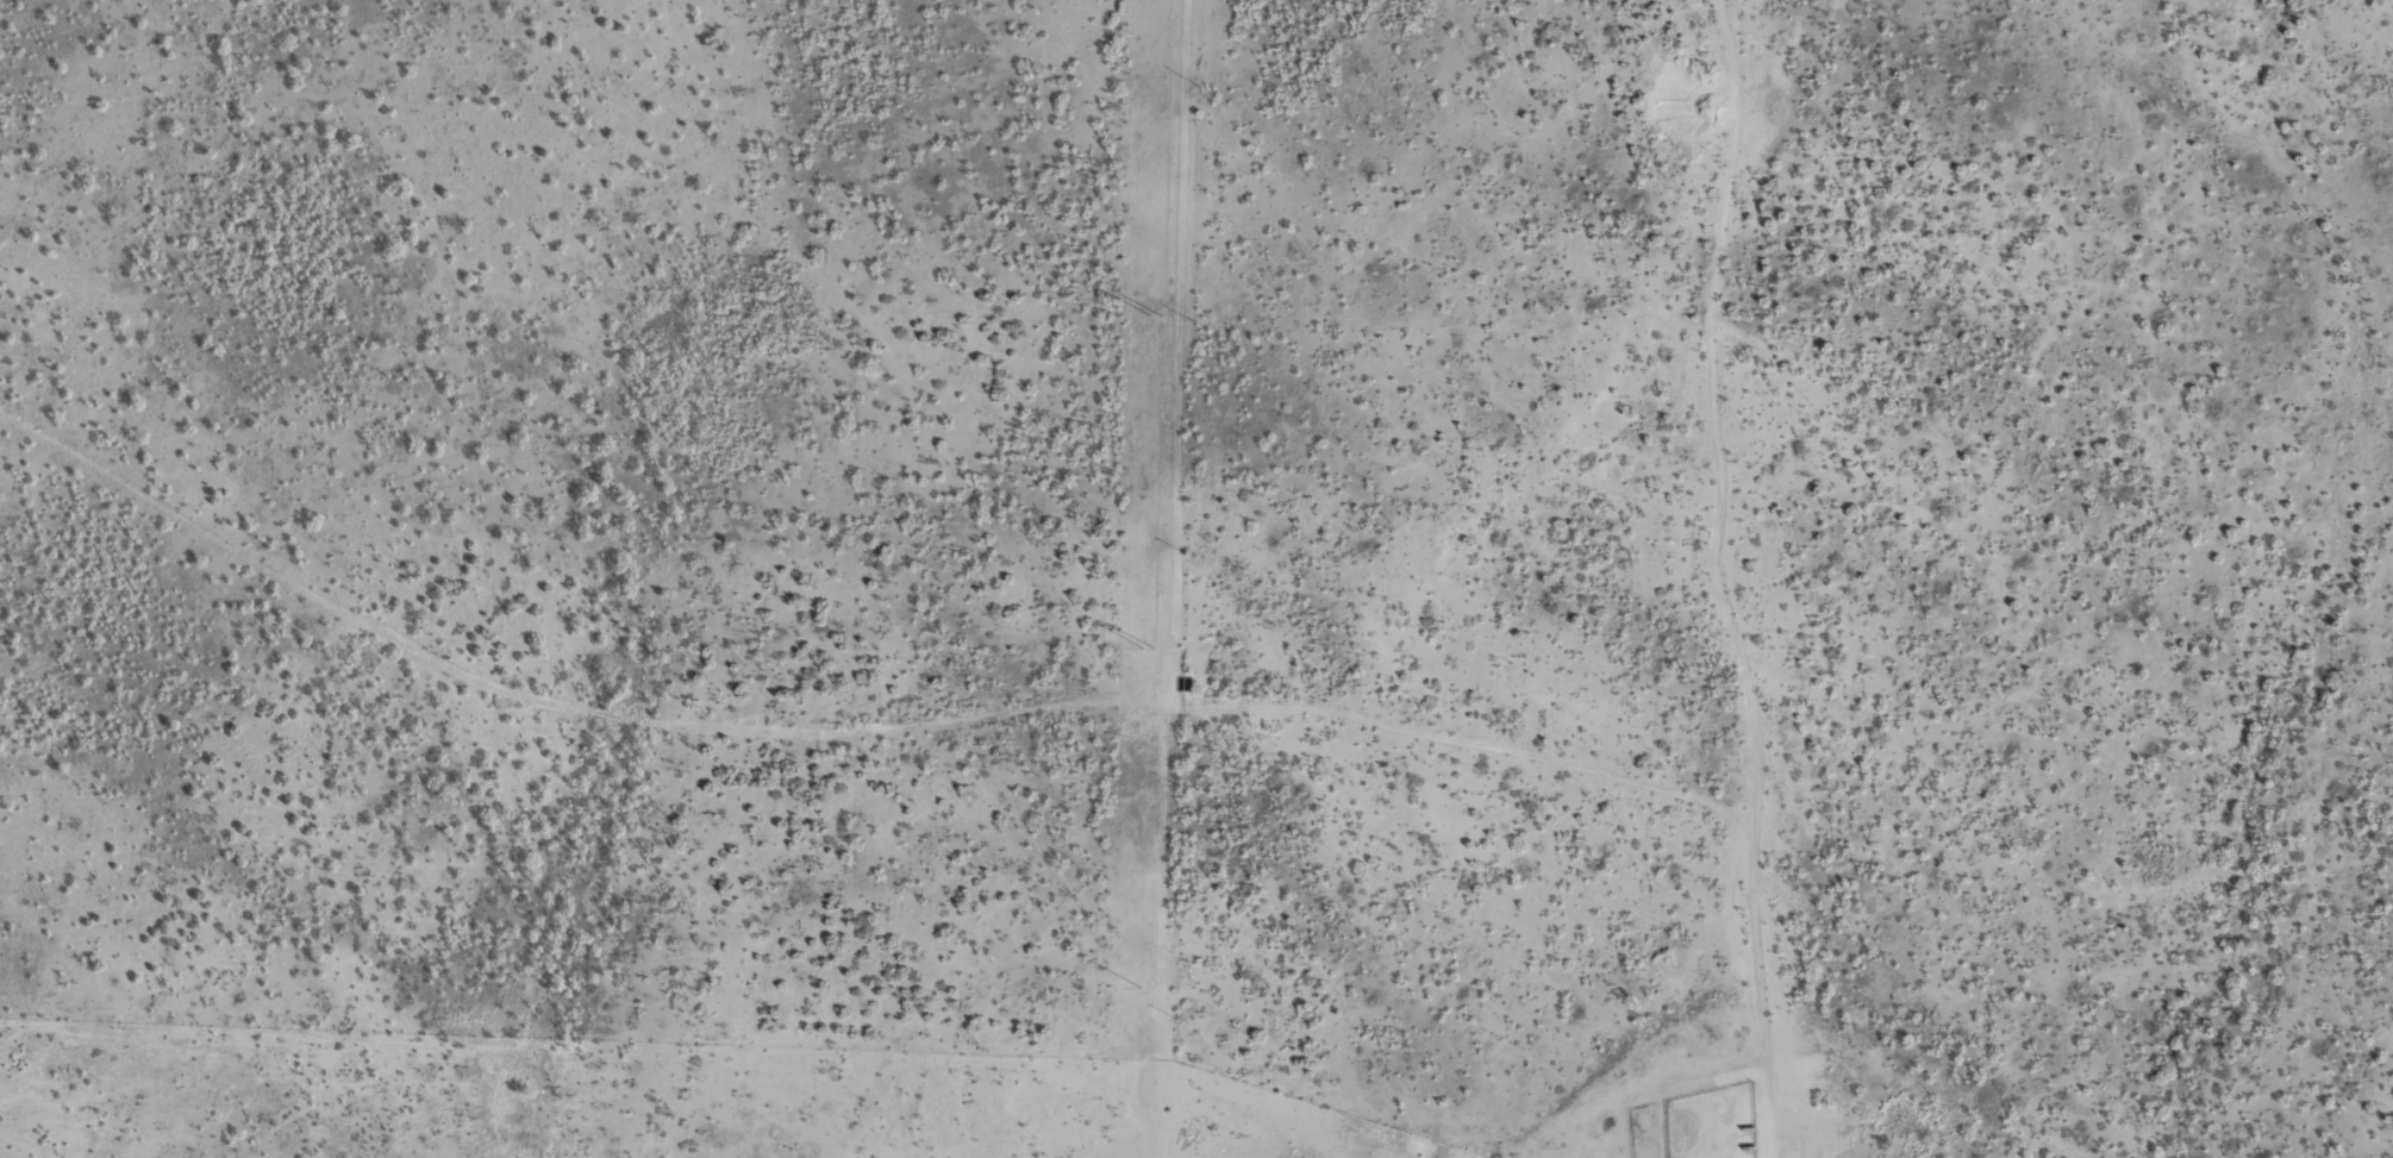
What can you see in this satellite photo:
power tower: (1158, 314)
road: (1711, 580)
power tower: (1150, 647)

